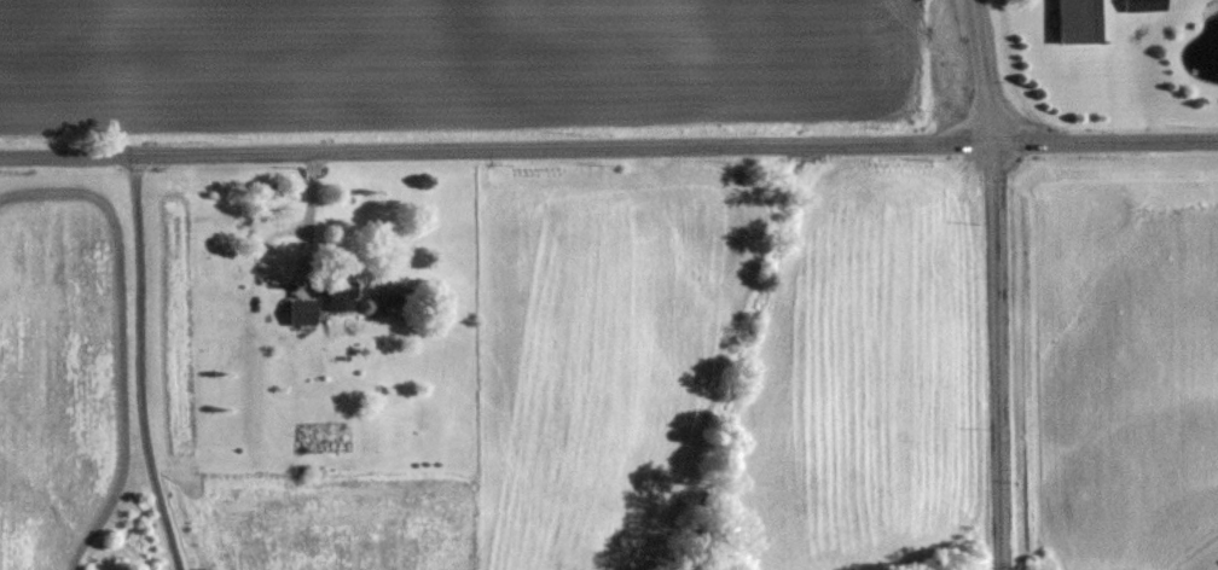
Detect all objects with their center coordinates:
building: (1144, 5)
building: (1087, 21)
road: (608, 146)
road: (997, 284)
building: (338, 292)
building: (302, 310)
road: (145, 363)

